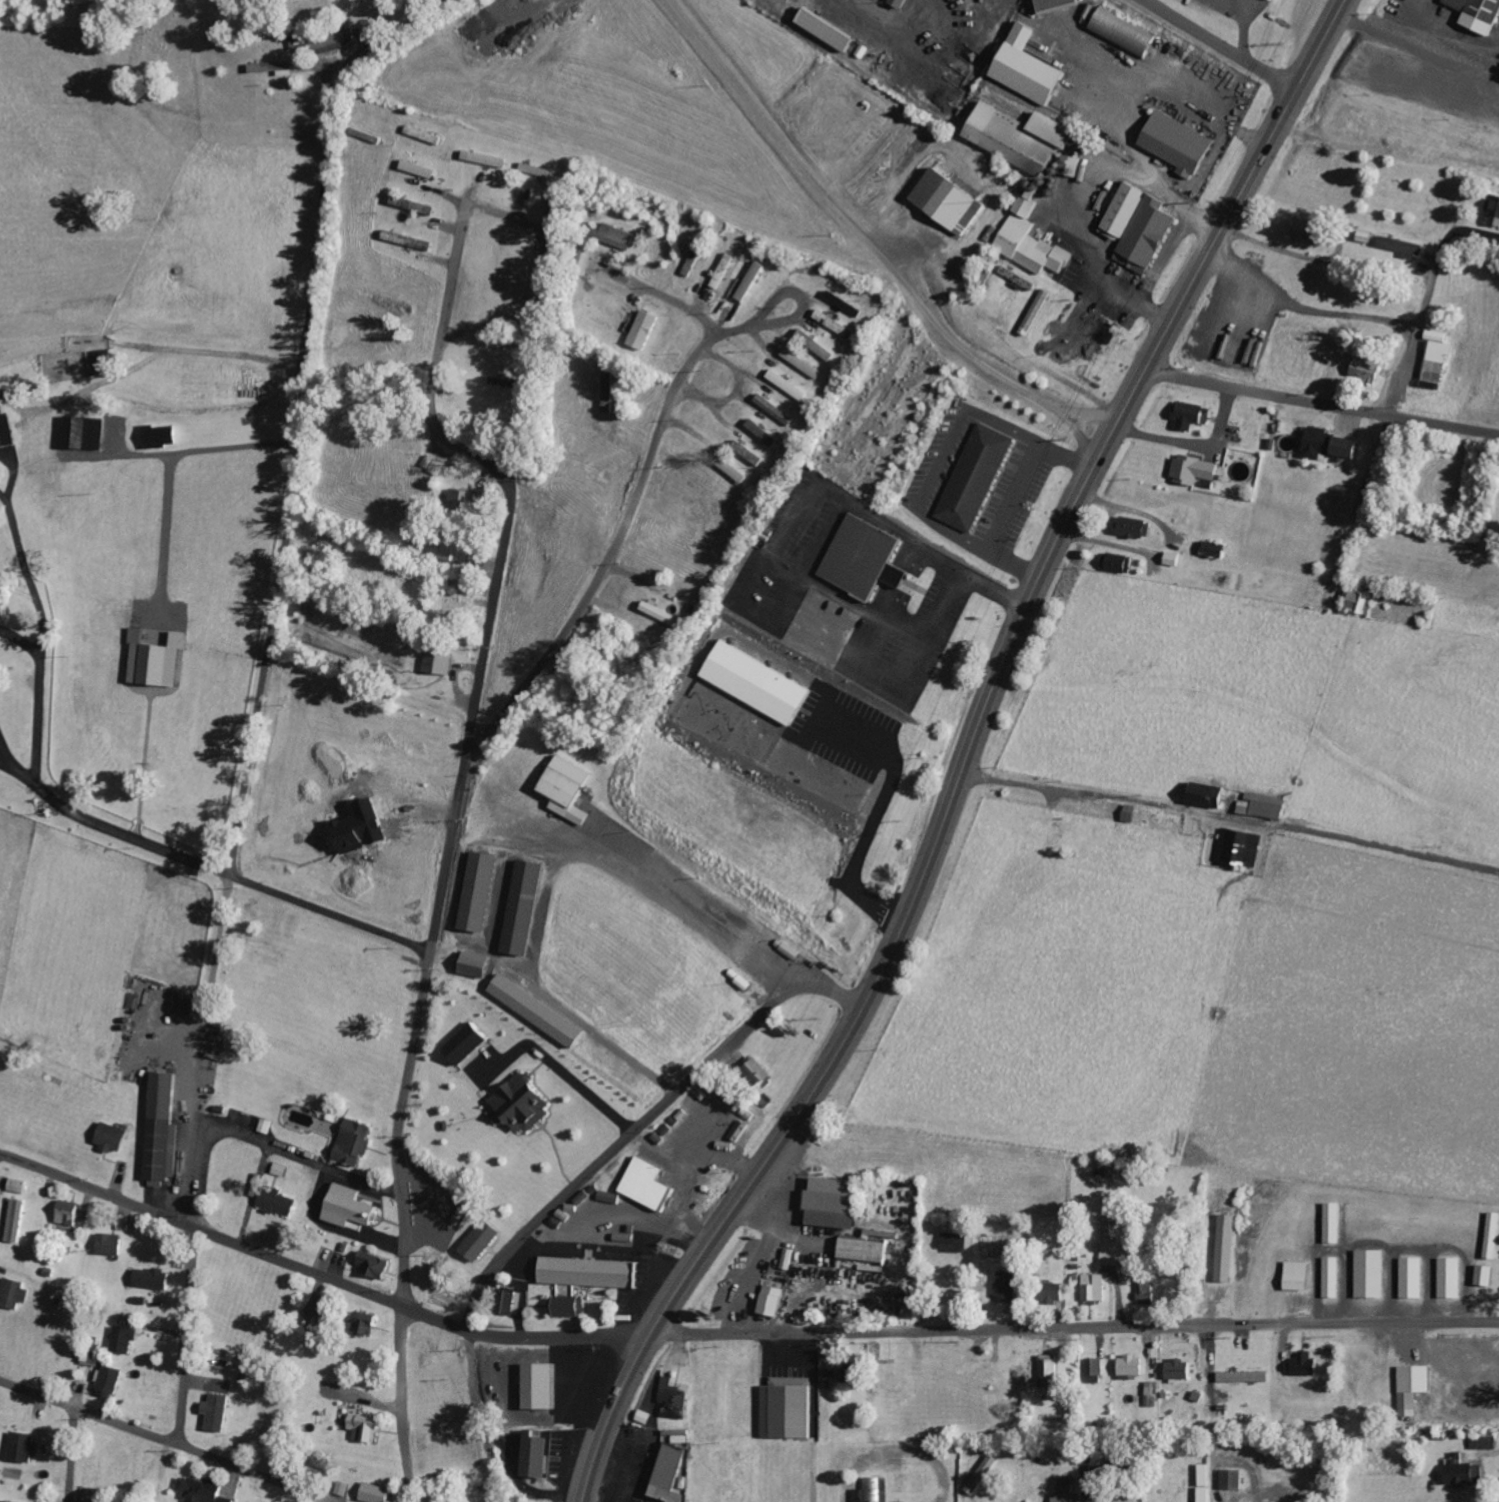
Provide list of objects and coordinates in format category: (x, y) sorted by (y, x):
building: (903, 3)
building: (1060, 5)
building: (1479, 14)
building: (830, 31)
building: (1127, 33)
road: (1222, 45)
building: (275, 68)
building: (426, 135)
building: (1025, 137)
building: (1181, 143)
building: (487, 159)
building: (421, 169)
building: (537, 169)
building: (557, 201)
building: (953, 201)
building: (415, 205)
building: (1494, 210)
building: (1142, 227)
building: (1311, 231)
building: (619, 236)
building: (1033, 239)
building: (410, 240)
building: (1404, 246)
building: (723, 270)
building: (1019, 278)
road: (657, 295)
building: (847, 303)
building: (1039, 311)
road: (790, 318)
building: (837, 325)
building: (645, 330)
building: (817, 345)
building: (107, 359)
building: (1434, 359)
building: (804, 363)
road: (1404, 367)
building: (1368, 368)
building: (507, 382)
building: (789, 385)
building: (610, 388)
road: (1320, 406)
building: (776, 409)
building: (1191, 415)
building: (7, 429)
building: (89, 432)
building: (763, 432)
building: (164, 436)
building: (1331, 444)
building: (749, 453)
building: (1197, 470)
building: (977, 477)
road: (295, 486)
building: (463, 498)
building: (1135, 527)
road: (619, 538)
building: (1220, 549)
building: (458, 550)
building: (867, 557)
building: (1176, 559)
building: (1120, 562)
building: (1361, 602)
road: (491, 606)
building: (665, 614)
building: (159, 660)
building: (440, 663)
building: (761, 683)
road: (968, 753)
building: (570, 790)
building: (1210, 795)
building: (1265, 805)
road: (1229, 818)
building: (364, 825)
building: (1241, 847)
road: (241, 880)
building: (482, 892)
building: (526, 907)
building: (480, 965)
building: (541, 1011)
building: (469, 1043)
building: (760, 1071)
building: (524, 1104)
road: (643, 1122)
building: (267, 1126)
building: (165, 1129)
building: (116, 1138)
building: (355, 1143)
building: (1111, 1168)
building: (281, 1170)
building: (651, 1185)
building: (20, 1186)
building: (279, 1201)
building: (835, 1203)
building: (354, 1209)
building: (71, 1213)
building: (19, 1220)
building: (1334, 1223)
building: (1493, 1237)
building: (485, 1240)
building: (957, 1243)
building: (113, 1244)
building: (1228, 1248)
building: (868, 1251)
building: (1115, 1253)
building: (789, 1259)
building: (376, 1265)
building: (595, 1273)
building: (1372, 1274)
road: (319, 1275)
building: (1299, 1276)
building: (1488, 1276)
building: (1332, 1278)
building: (1413, 1278)
building: (1451, 1278)
building: (154, 1279)
building: (1011, 1286)
building: (1096, 1288)
building: (1146, 1288)
building: (16, 1292)
building: (1057, 1292)
building: (774, 1301)
building: (510, 1302)
building: (570, 1307)
road: (1075, 1329)
road: (187, 1337)
building: (127, 1340)
building: (1306, 1365)
building: (1133, 1366)
building: (1096, 1367)
building: (1180, 1370)
building: (1050, 1371)
building: (854, 1376)
building: (1246, 1377)
building: (111, 1381)
building: (544, 1387)
building: (1416, 1387)
building: (676, 1400)
road: (402, 1404)
building: (791, 1408)
building: (219, 1413)
building: (368, 1428)
road: (161, 1441)
building: (1485, 1443)
building: (25, 1447)
building: (897, 1450)
building: (539, 1456)
building: (861, 1460)
building: (898, 1461)
building: (1466, 1471)
building: (671, 1474)
building: (984, 1475)
building: (1235, 1480)
building: (1206, 1483)
building: (1065, 1489)
building: (203, 1490)
building: (874, 1491)
building: (380, 1493)
building: (2, 1501)

